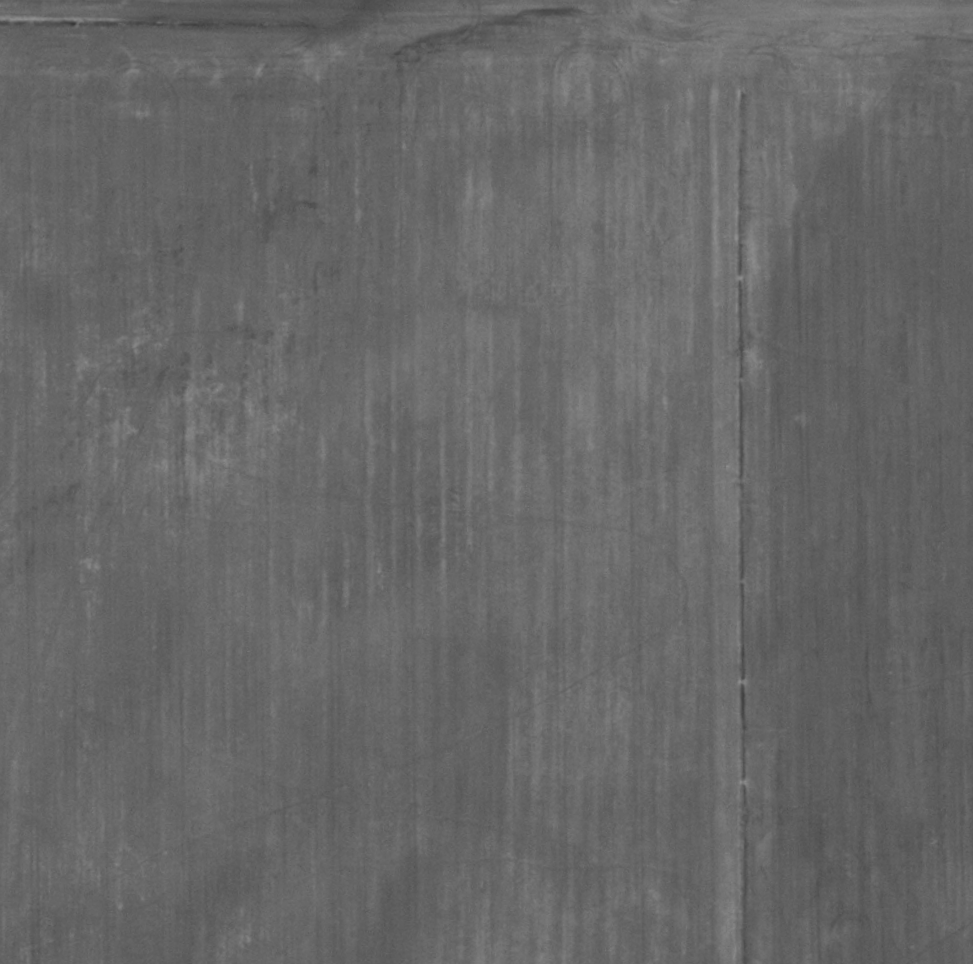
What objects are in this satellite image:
road: (486, 17)

